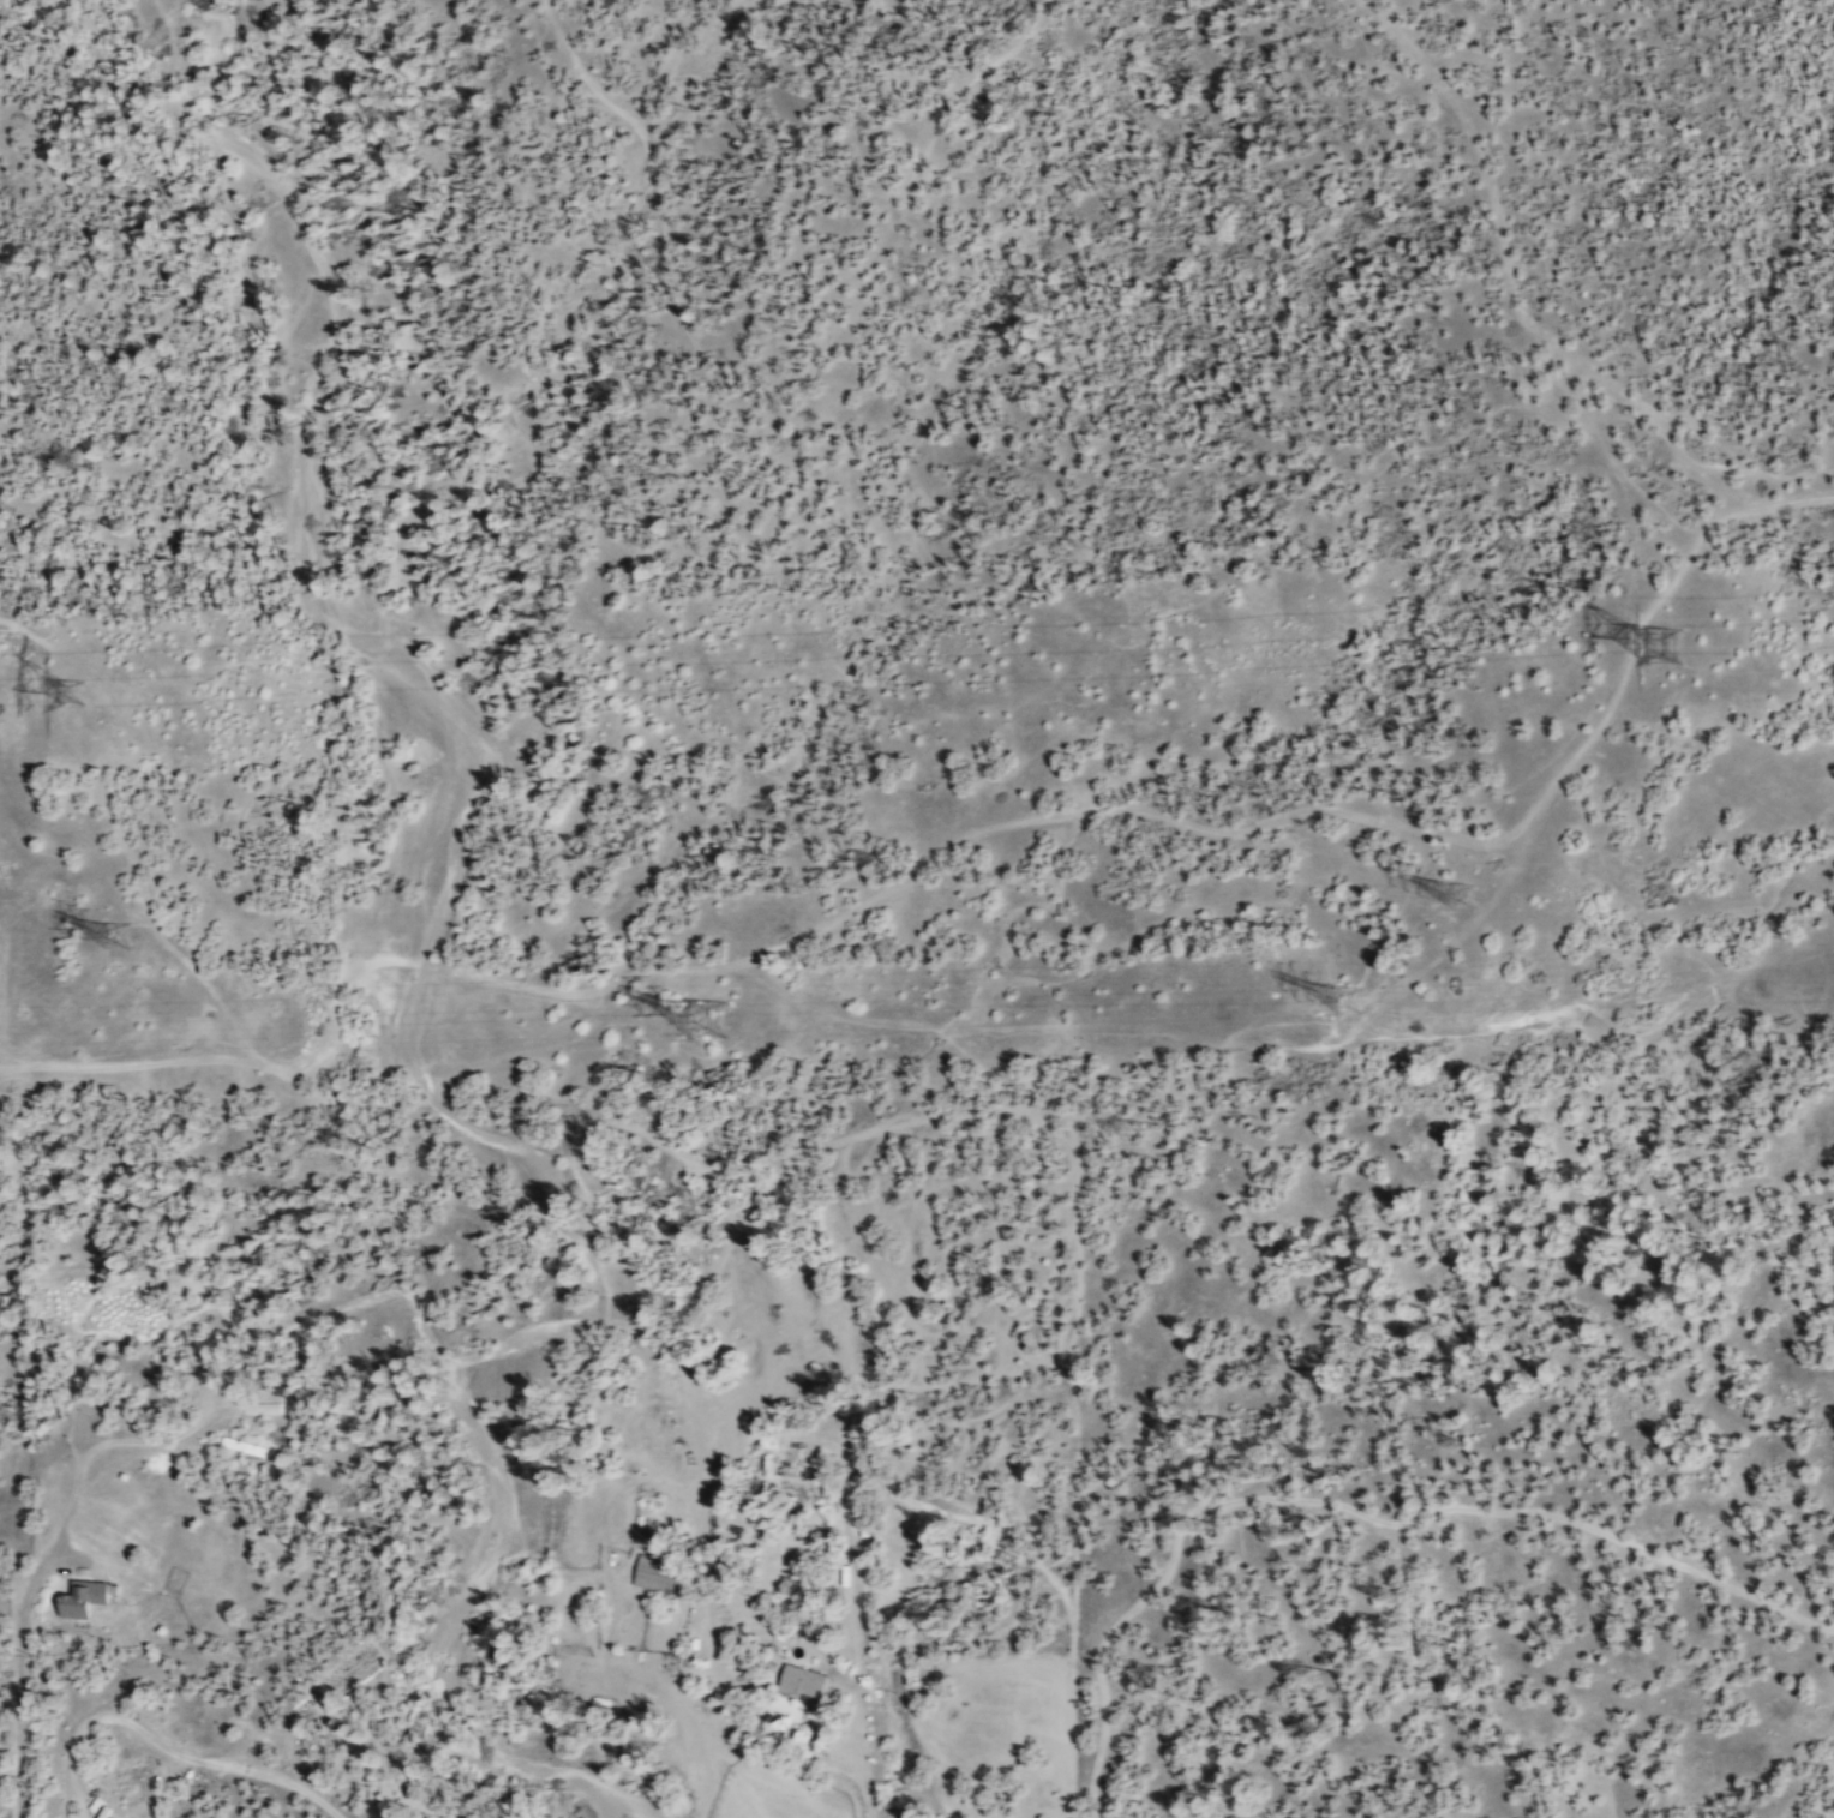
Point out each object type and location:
power tower: (1678, 662)
power tower: (82, 714)
road: (125, 836)
road: (960, 842)
power tower: (1457, 914)
power tower: (131, 954)
power tower: (1357, 1012)
power tower: (709, 1030)
building: (242, 1446)
building: (661, 1573)
building: (85, 1597)
building: (803, 1680)
road: (867, 1741)
road: (22, 1757)

